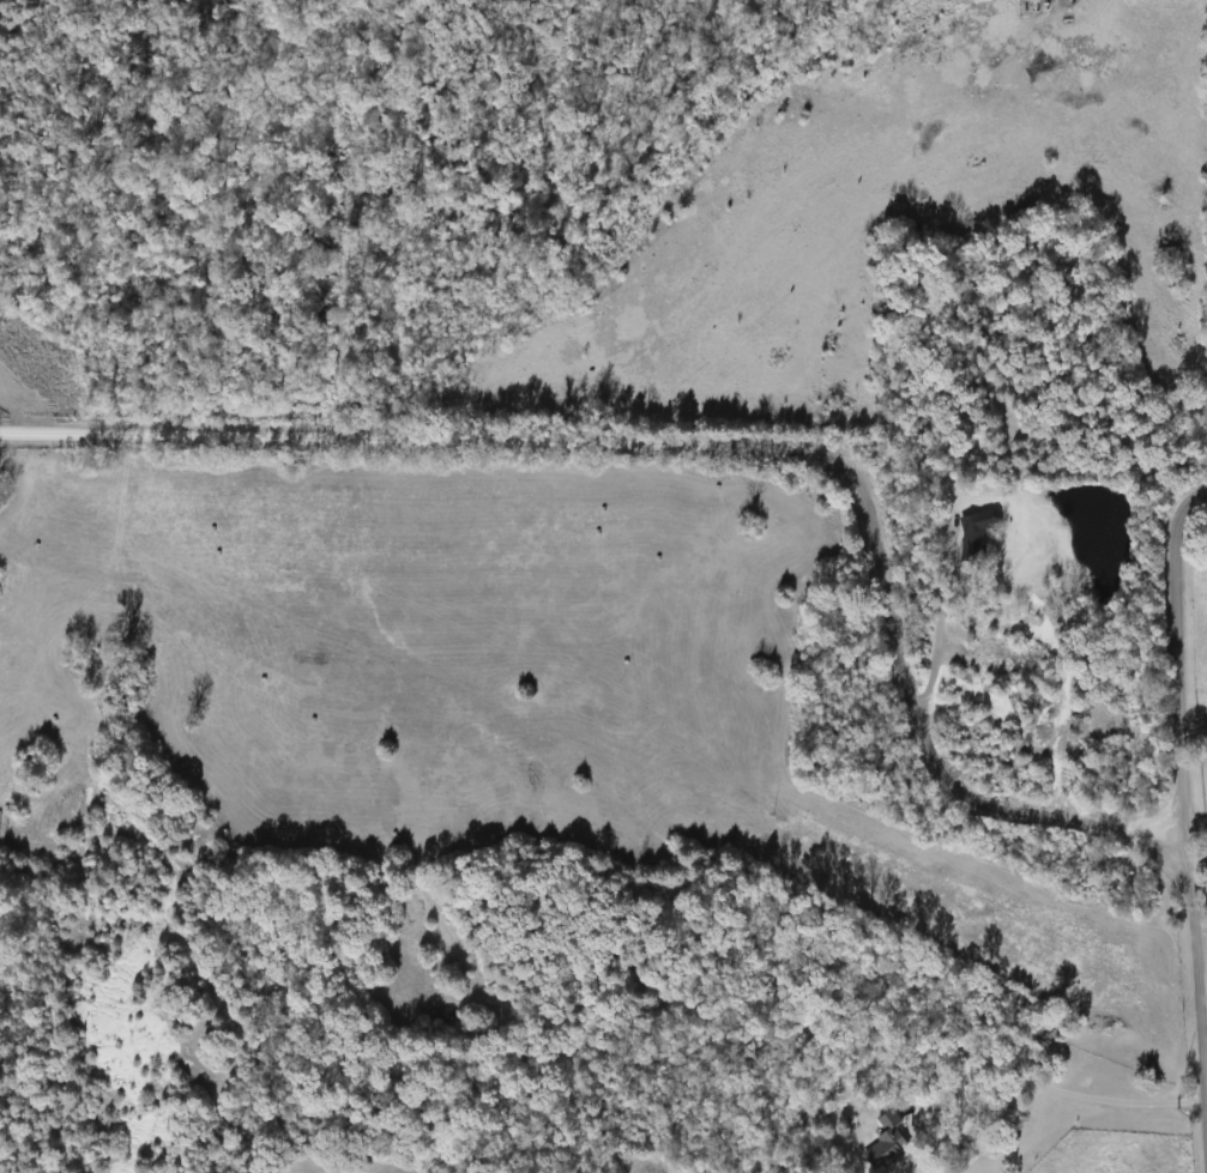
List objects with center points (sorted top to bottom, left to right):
building: (1165, 253)
road: (716, 437)
building: (972, 531)
road: (937, 623)
road: (1176, 653)
road: (1200, 996)
road: (1064, 1089)
building: (887, 1142)

